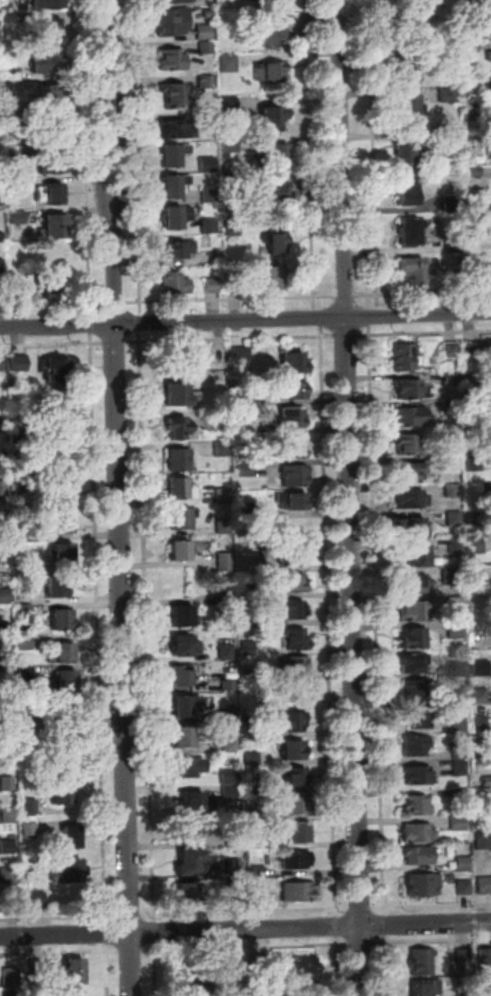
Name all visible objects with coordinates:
building: (265, 0)
building: (490, 0)
building: (175, 1)
building: (49, 4)
building: (7, 9)
road: (111, 10)
building: (209, 14)
building: (474, 14)
building: (14, 19)
building: (174, 22)
building: (52, 29)
building: (274, 30)
building: (206, 33)
building: (416, 36)
building: (472, 47)
building: (207, 48)
building: (489, 57)
building: (172, 60)
building: (230, 63)
building: (51, 64)
building: (411, 69)
building: (273, 73)
building: (15, 74)
building: (473, 80)
building: (207, 82)
building: (490, 82)
building: (56, 95)
building: (449, 95)
building: (176, 96)
building: (231, 103)
building: (408, 105)
building: (15, 110)
road: (99, 111)
road: (123, 112)
building: (473, 112)
building: (273, 118)
building: (211, 119)
building: (0, 126)
building: (55, 129)
building: (174, 130)
building: (15, 136)
building: (451, 136)
building: (231, 144)
building: (409, 152)
road: (311, 154)
road: (375, 154)
building: (489, 154)
building: (15, 156)
road: (138, 156)
building: (174, 156)
road: (87, 157)
building: (279, 157)
building: (52, 165)
building: (208, 165)
building: (475, 172)
building: (17, 184)
building: (232, 186)
building: (175, 187)
building: (408, 192)
building: (52, 195)
building: (271, 195)
building: (210, 196)
building: (2, 204)
building: (452, 204)
building: (490, 206)
building: (19, 218)
building: (177, 218)
building: (476, 222)
building: (57, 227)
building: (210, 227)
building: (234, 228)
building: (413, 233)
building: (477, 236)
building: (2, 238)
building: (277, 242)
building: (454, 246)
building: (180, 250)
building: (2, 267)
building: (413, 272)
building: (476, 276)
building: (456, 277)
building: (277, 279)
building: (176, 285)
building: (213, 285)
building: (56, 286)
building: (234, 286)
building: (2, 293)
building: (21, 293)
road: (423, 293)
road: (346, 297)
road: (231, 299)
road: (115, 303)
road: (52, 305)
road: (317, 317)
road: (375, 317)
road: (304, 318)
road: (141, 321)
road: (92, 324)
road: (58, 325)
road: (424, 334)
road: (346, 336)
road: (231, 339)
road: (116, 343)
road: (52, 345)
building: (474, 350)
building: (451, 351)
building: (217, 352)
building: (243, 357)
building: (405, 358)
building: (2, 364)
building: (20, 364)
building: (295, 364)
building: (57, 371)
building: (452, 379)
building: (474, 381)
building: (410, 390)
building: (293, 391)
building: (244, 393)
building: (179, 397)
building: (451, 408)
building: (61, 418)
building: (296, 418)
building: (413, 418)
building: (3, 425)
building: (223, 425)
building: (181, 429)
building: (246, 431)
building: (453, 433)
building: (20, 436)
building: (247, 441)
building: (409, 445)
building: (222, 450)
building: (294, 450)
building: (3, 459)
building: (180, 460)
building: (453, 464)
building: (476, 464)
building: (246, 470)
building: (411, 473)
building: (296, 477)
building: (23, 483)
building: (3, 488)
building: (487, 488)
building: (181, 490)
building: (453, 490)
building: (65, 495)
building: (224, 496)
road: (350, 498)
building: (412, 500)
building: (293, 501)
building: (247, 509)
building: (475, 518)
building: (183, 519)
building: (455, 519)
building: (64, 525)
building: (225, 526)
building: (415, 529)
building: (24, 534)
building: (457, 547)
building: (476, 547)
building: (185, 551)
building: (4, 555)
building: (63, 555)
building: (417, 555)
building: (292, 557)
building: (226, 562)
building: (248, 564)
building: (24, 566)
building: (476, 574)
building: (453, 577)
building: (415, 583)
building: (294, 585)
building: (58, 588)
road: (123, 596)
building: (4, 597)
building: (24, 597)
building: (227, 604)
building: (457, 604)
building: (25, 611)
building: (295, 611)
building: (415, 612)
building: (184, 617)
building: (249, 619)
building: (63, 620)
road: (329, 620)
road: (377, 620)
road: (147, 627)
building: (5, 629)
road: (98, 629)
building: (457, 631)
building: (414, 639)
building: (299, 641)
building: (26, 643)
building: (186, 648)
building: (249, 649)
building: (227, 653)
building: (63, 655)
building: (5, 658)
building: (414, 664)
building: (297, 667)
building: (458, 669)
building: (479, 670)
building: (27, 674)
building: (252, 676)
building: (182, 678)
building: (64, 681)
building: (229, 686)
building: (420, 690)
building: (481, 697)
building: (460, 698)
building: (6, 705)
building: (187, 706)
building: (64, 710)
building: (230, 715)
building: (420, 719)
building: (27, 722)
building: (294, 722)
building: (481, 722)
building: (459, 724)
building: (252, 732)
building: (9, 735)
building: (184, 738)
building: (231, 746)
building: (417, 746)
building: (294, 751)
building: (486, 752)
building: (460, 753)
building: (252, 759)
building: (190, 768)
building: (461, 769)
building: (418, 776)
building: (230, 777)
building: (296, 778)
building: (487, 782)
building: (7, 784)
building: (253, 787)
building: (65, 791)
building: (230, 794)
building: (485, 796)
building: (461, 797)
building: (196, 802)
building: (296, 806)
building: (418, 806)
building: (30, 807)
building: (8, 815)
building: (459, 824)
building: (30, 829)
building: (189, 831)
building: (299, 832)
building: (419, 834)
building: (72, 838)
building: (233, 840)
building: (483, 842)
building: (255, 843)
building: (8, 848)
building: (420, 857)
building: (298, 861)
building: (191, 865)
building: (234, 866)
building: (464, 866)
building: (256, 871)
building: (70, 873)
building: (9, 877)
building: (256, 886)
building: (424, 886)
building: (484, 887)
building: (235, 889)
building: (464, 889)
building: (188, 893)
building: (299, 893)
building: (10, 894)
building: (37, 902)
road: (431, 906)
road: (360, 909)
road: (245, 913)
road: (130, 917)
road: (59, 919)
road: (384, 925)
road: (337, 926)
road: (245, 930)
road: (154, 932)
road: (107, 934)
road: (432, 941)
road: (361, 943)
road: (246, 948)
road: (131, 951)
road: (59, 952)
building: (464, 957)
building: (485, 957)
building: (422, 962)
building: (259, 964)
road: (386, 965)
road: (337, 966)
building: (37, 968)
road: (108, 969)
road: (156, 969)
building: (305, 969)
building: (73, 971)
building: (11, 978)
building: (486, 984)
building: (426, 988)
building: (312, 989)
building: (191, 992)
building: (465, 993)
building: (10, 994)
building: (74, 994)

